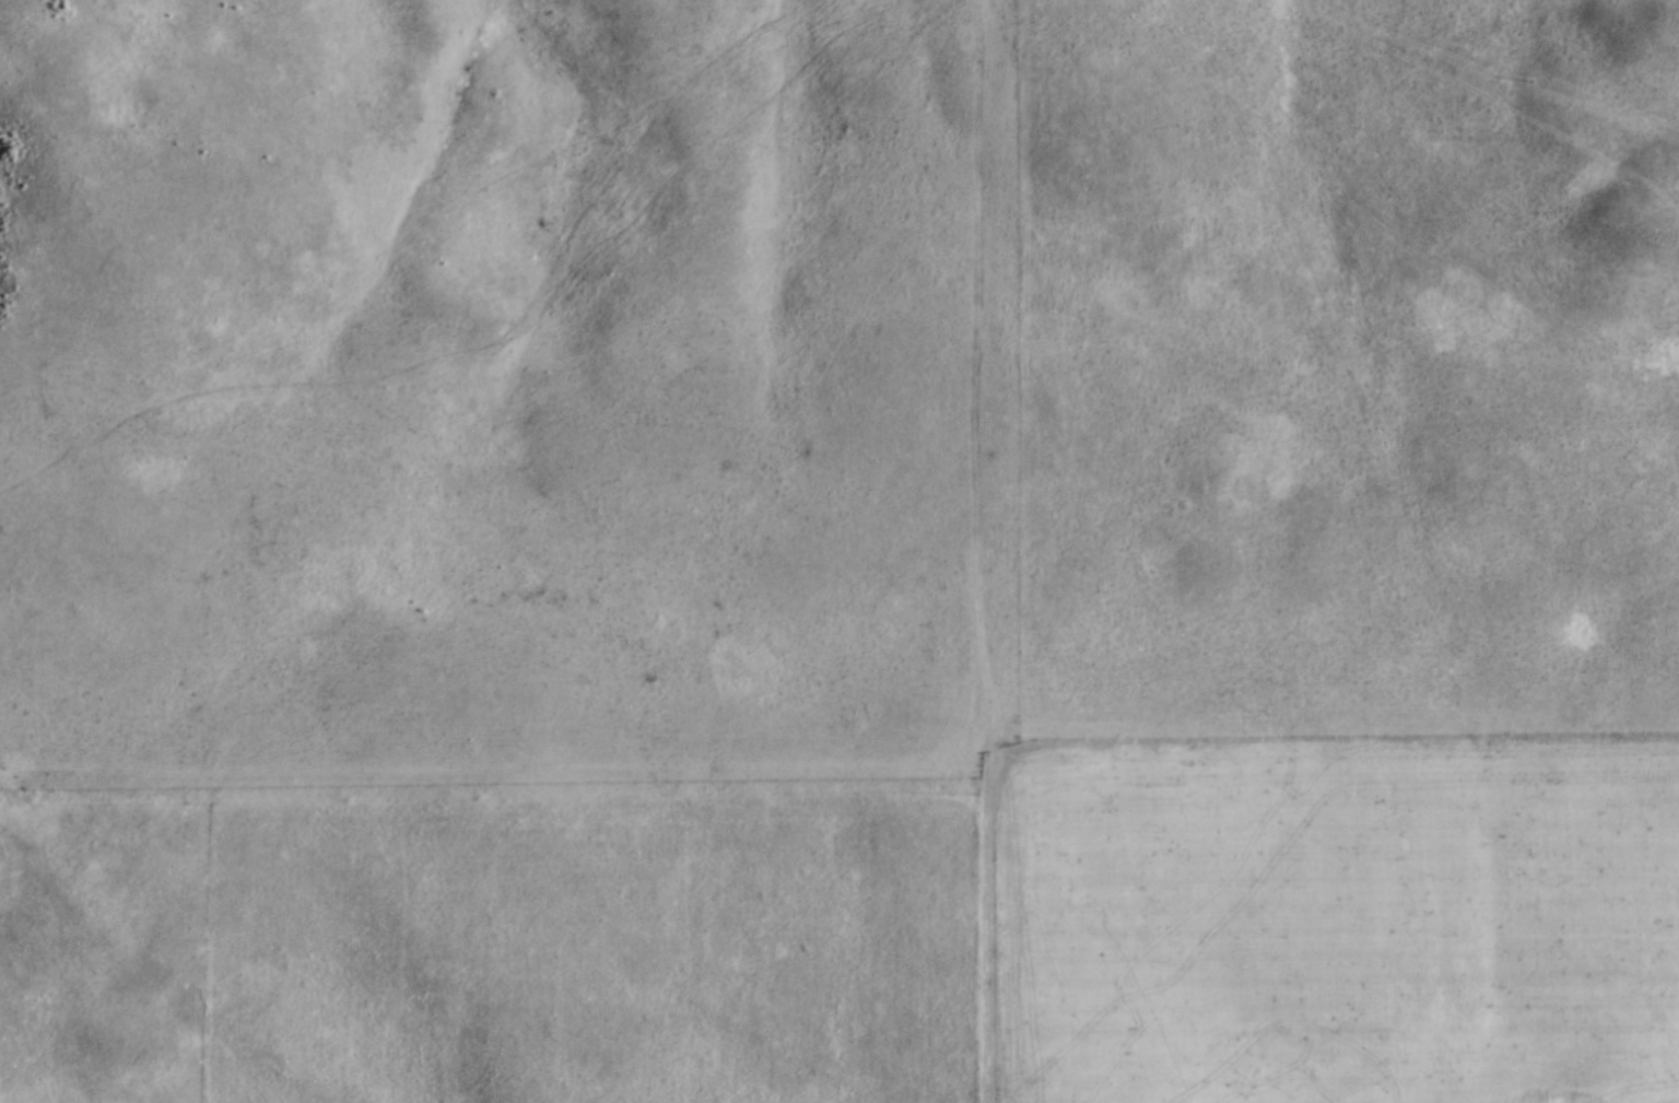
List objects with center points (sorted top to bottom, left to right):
road: (976, 579)

